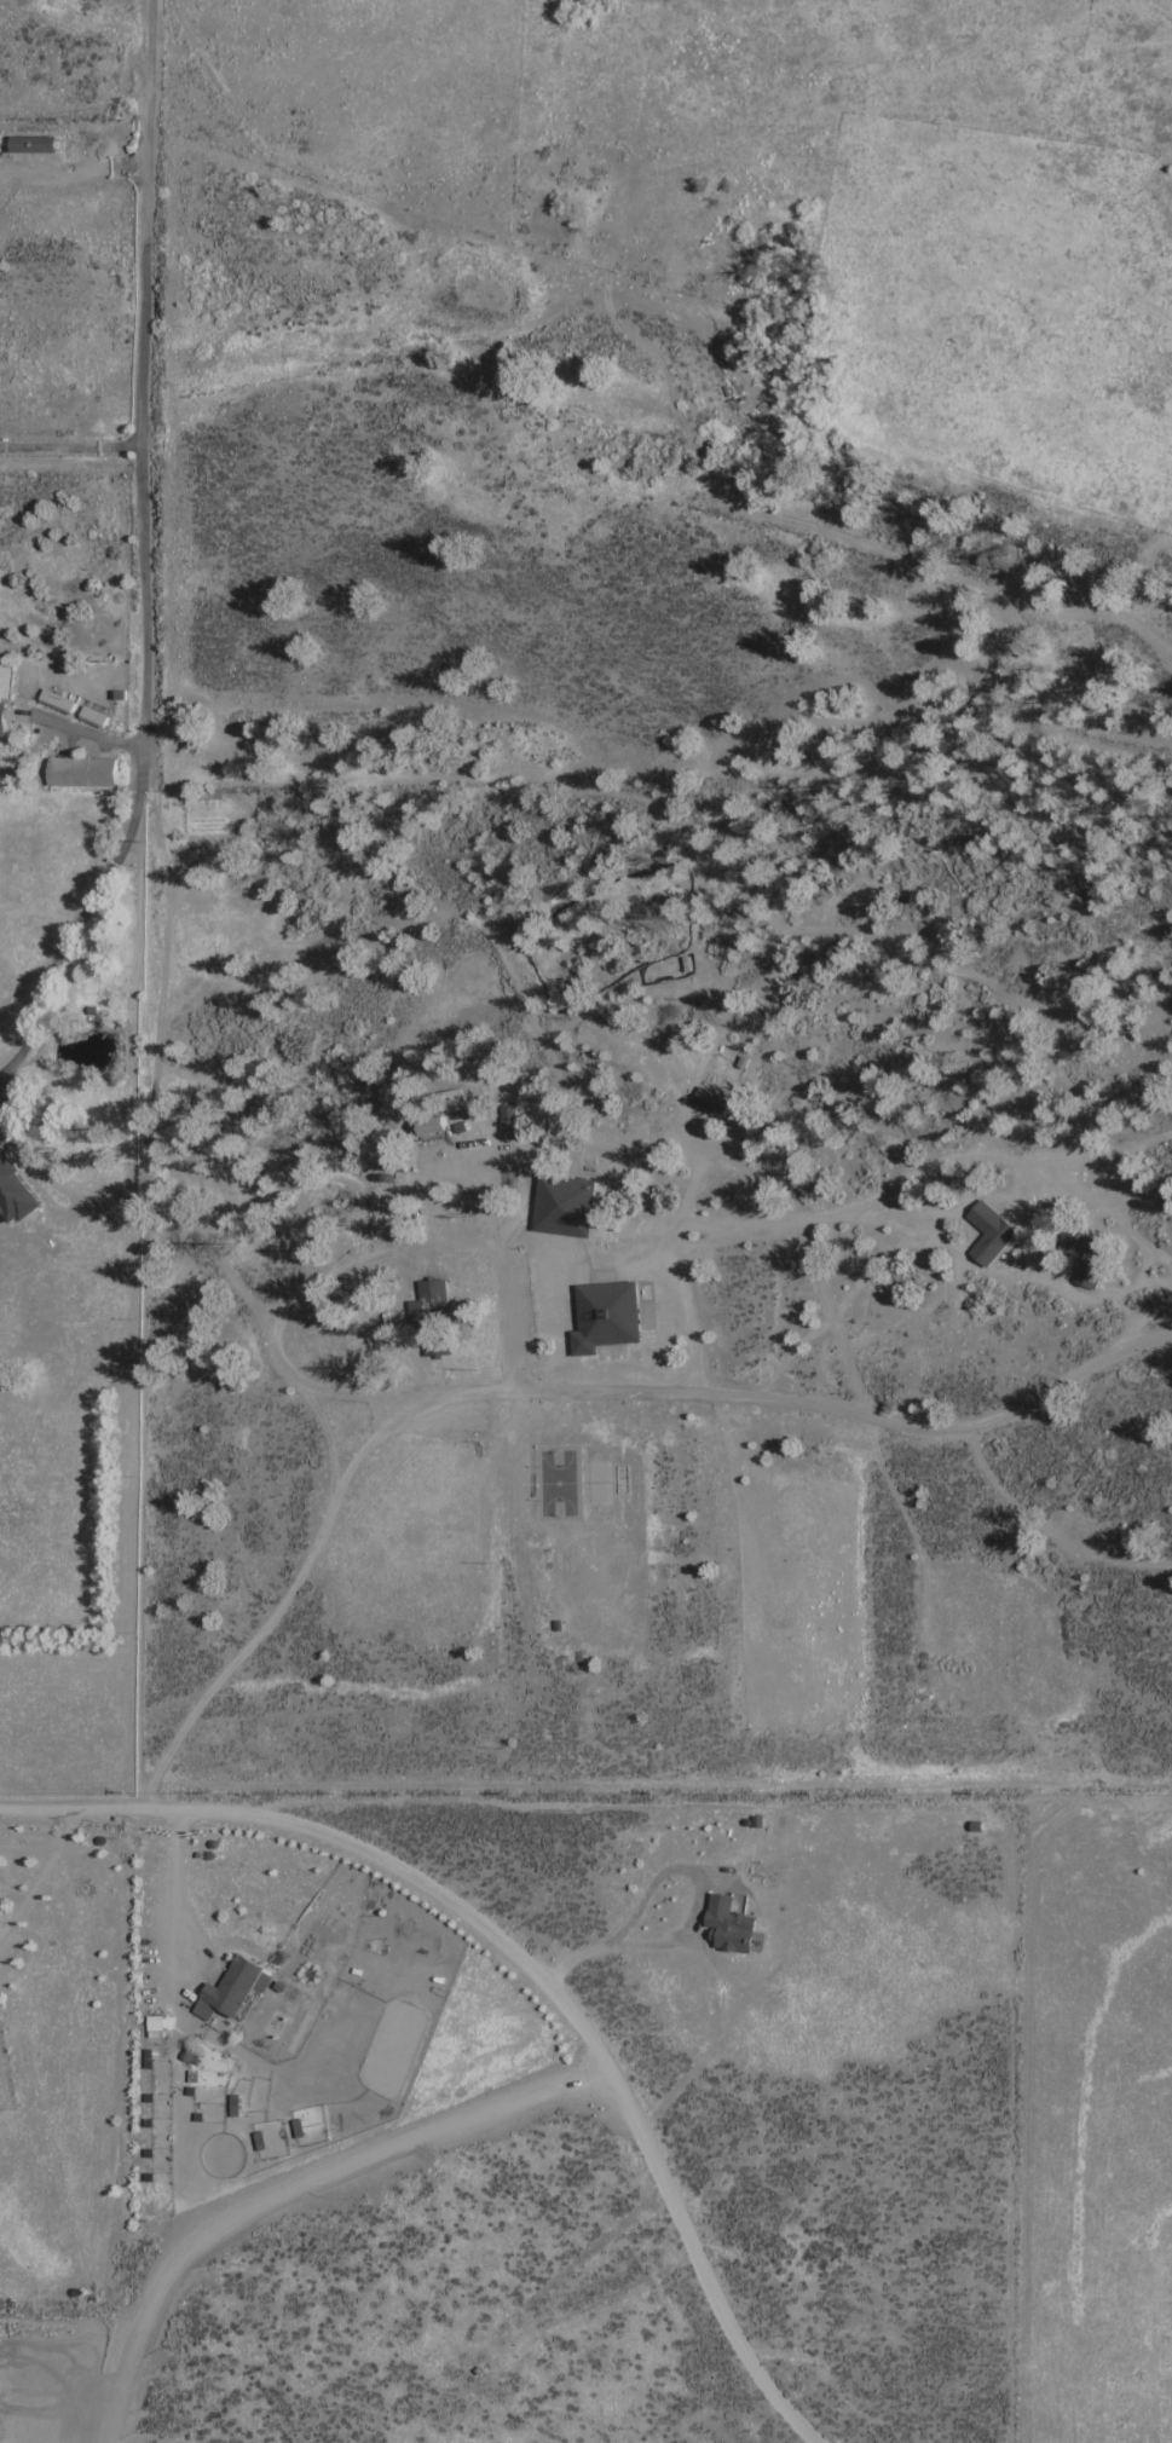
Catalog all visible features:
building: (34, 144)
road: (135, 395)
road: (68, 450)
building: (54, 700)
building: (92, 716)
building: (1, 717)
road: (85, 733)
building: (80, 773)
road: (74, 936)
building: (708, 1103)
building: (507, 1119)
building: (427, 1128)
road: (1155, 1139)
building: (15, 1194)
building: (562, 1205)
road: (685, 1213)
building: (988, 1231)
road: (935, 1235)
road: (446, 1242)
building: (1086, 1257)
building: (605, 1316)
road: (1145, 1318)
road: (706, 1398)
road: (283, 1601)
road: (175, 1884)
building: (731, 1923)
road: (525, 1962)
building: (233, 1988)
building: (155, 2025)
building: (189, 2052)
road: (290, 2191)

